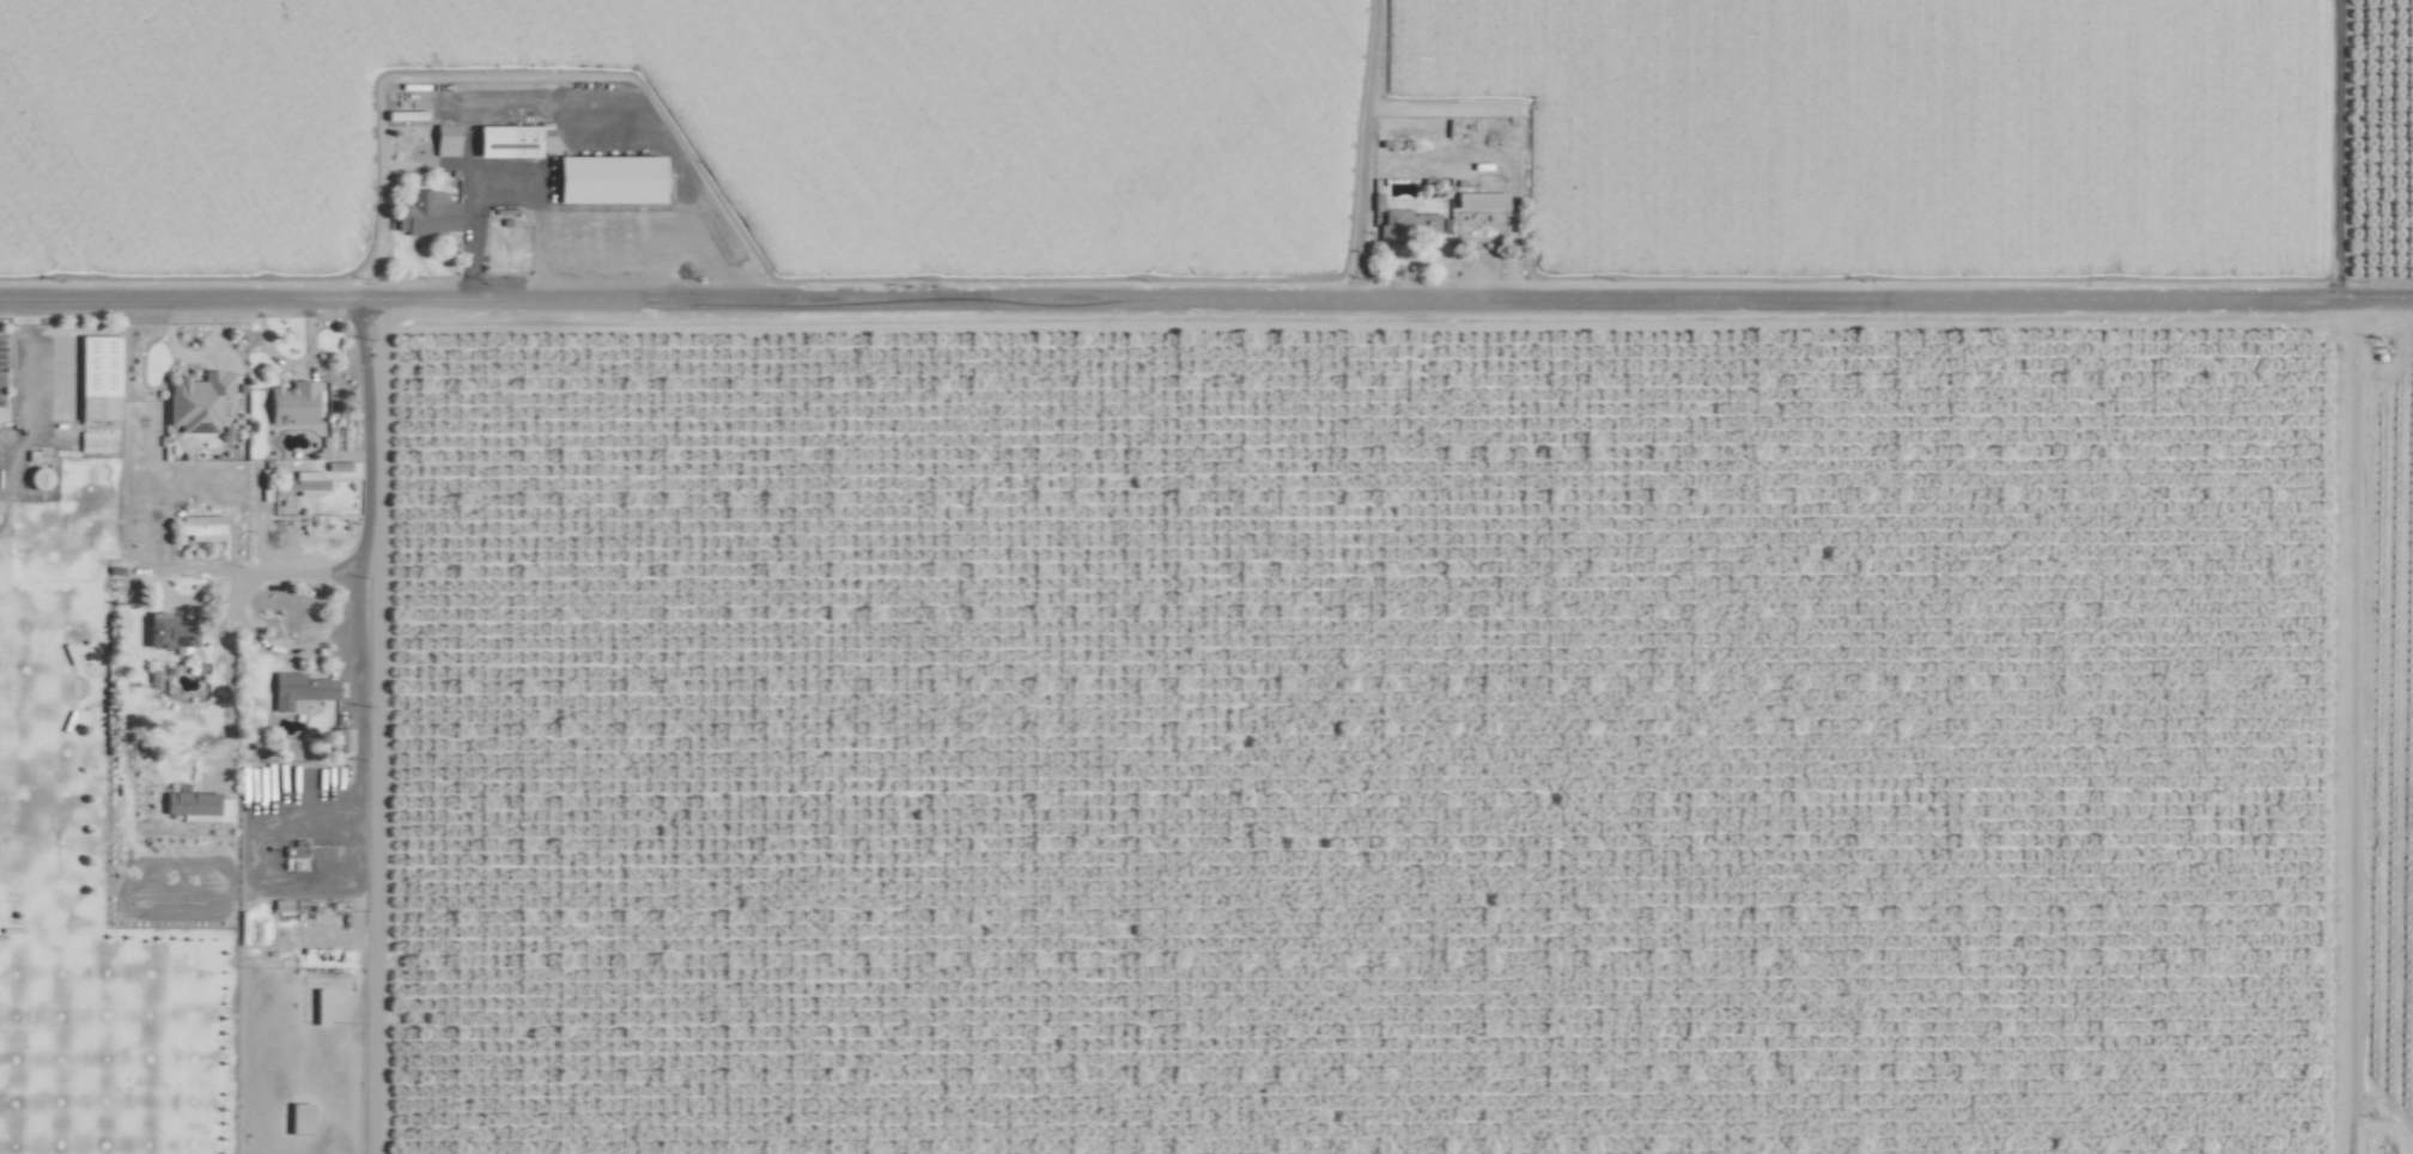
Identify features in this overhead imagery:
building: (448, 140)
building: (509, 140)
building: (612, 178)
road: (505, 192)
building: (1482, 200)
building: (427, 213)
building: (1408, 224)
road: (1205, 300)
road: (271, 359)
building: (99, 377)
building: (199, 400)
building: (294, 402)
building: (306, 482)
building: (202, 524)
road: (248, 578)
building: (172, 631)
building: (300, 688)
road: (355, 727)
building: (199, 804)
building: (321, 1019)

